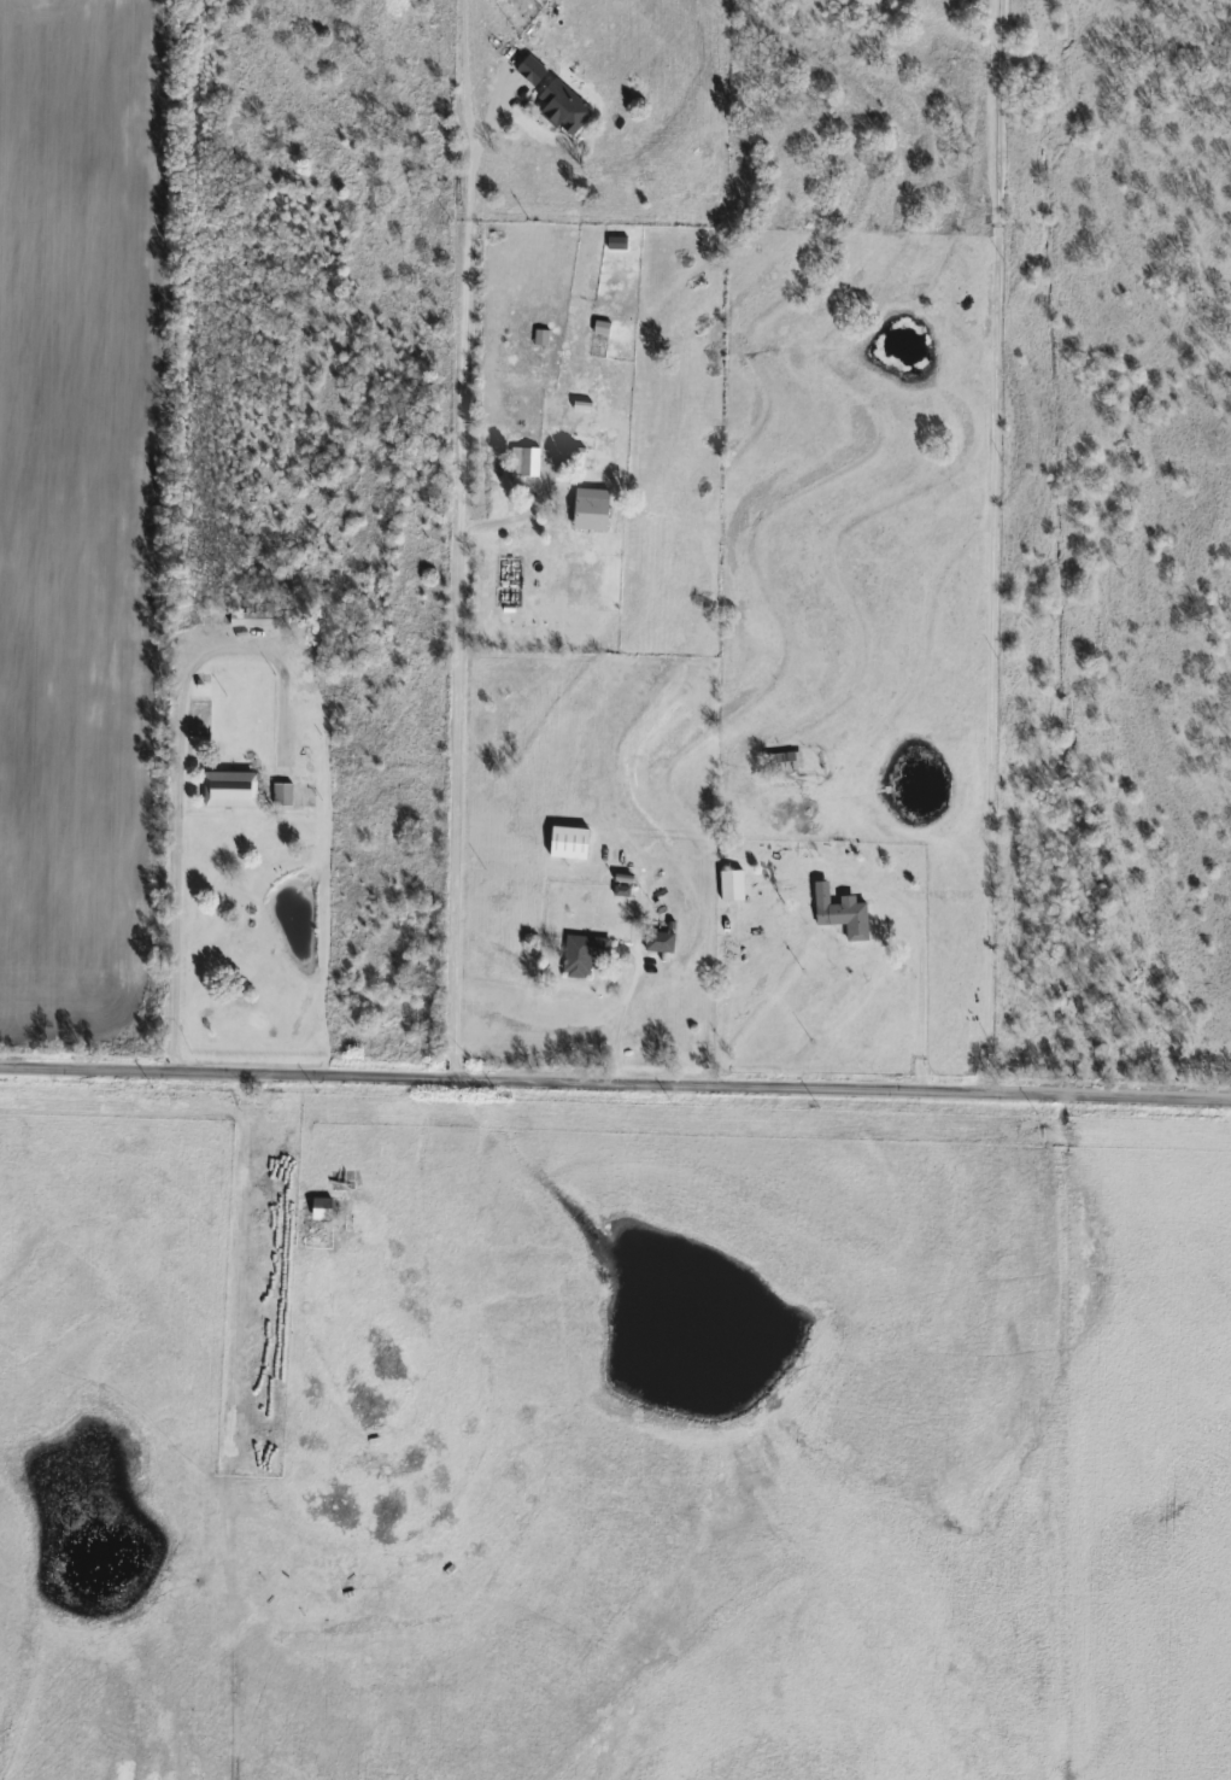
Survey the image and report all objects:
building: (523, 461)
building: (590, 509)
road: (996, 549)
road: (464, 579)
building: (784, 761)
road: (176, 772)
building: (228, 789)
building: (281, 795)
building: (729, 885)
building: (839, 914)
building: (658, 942)
building: (581, 954)
road: (922, 968)
road: (621, 1017)
road: (615, 1087)
building: (330, 1207)

